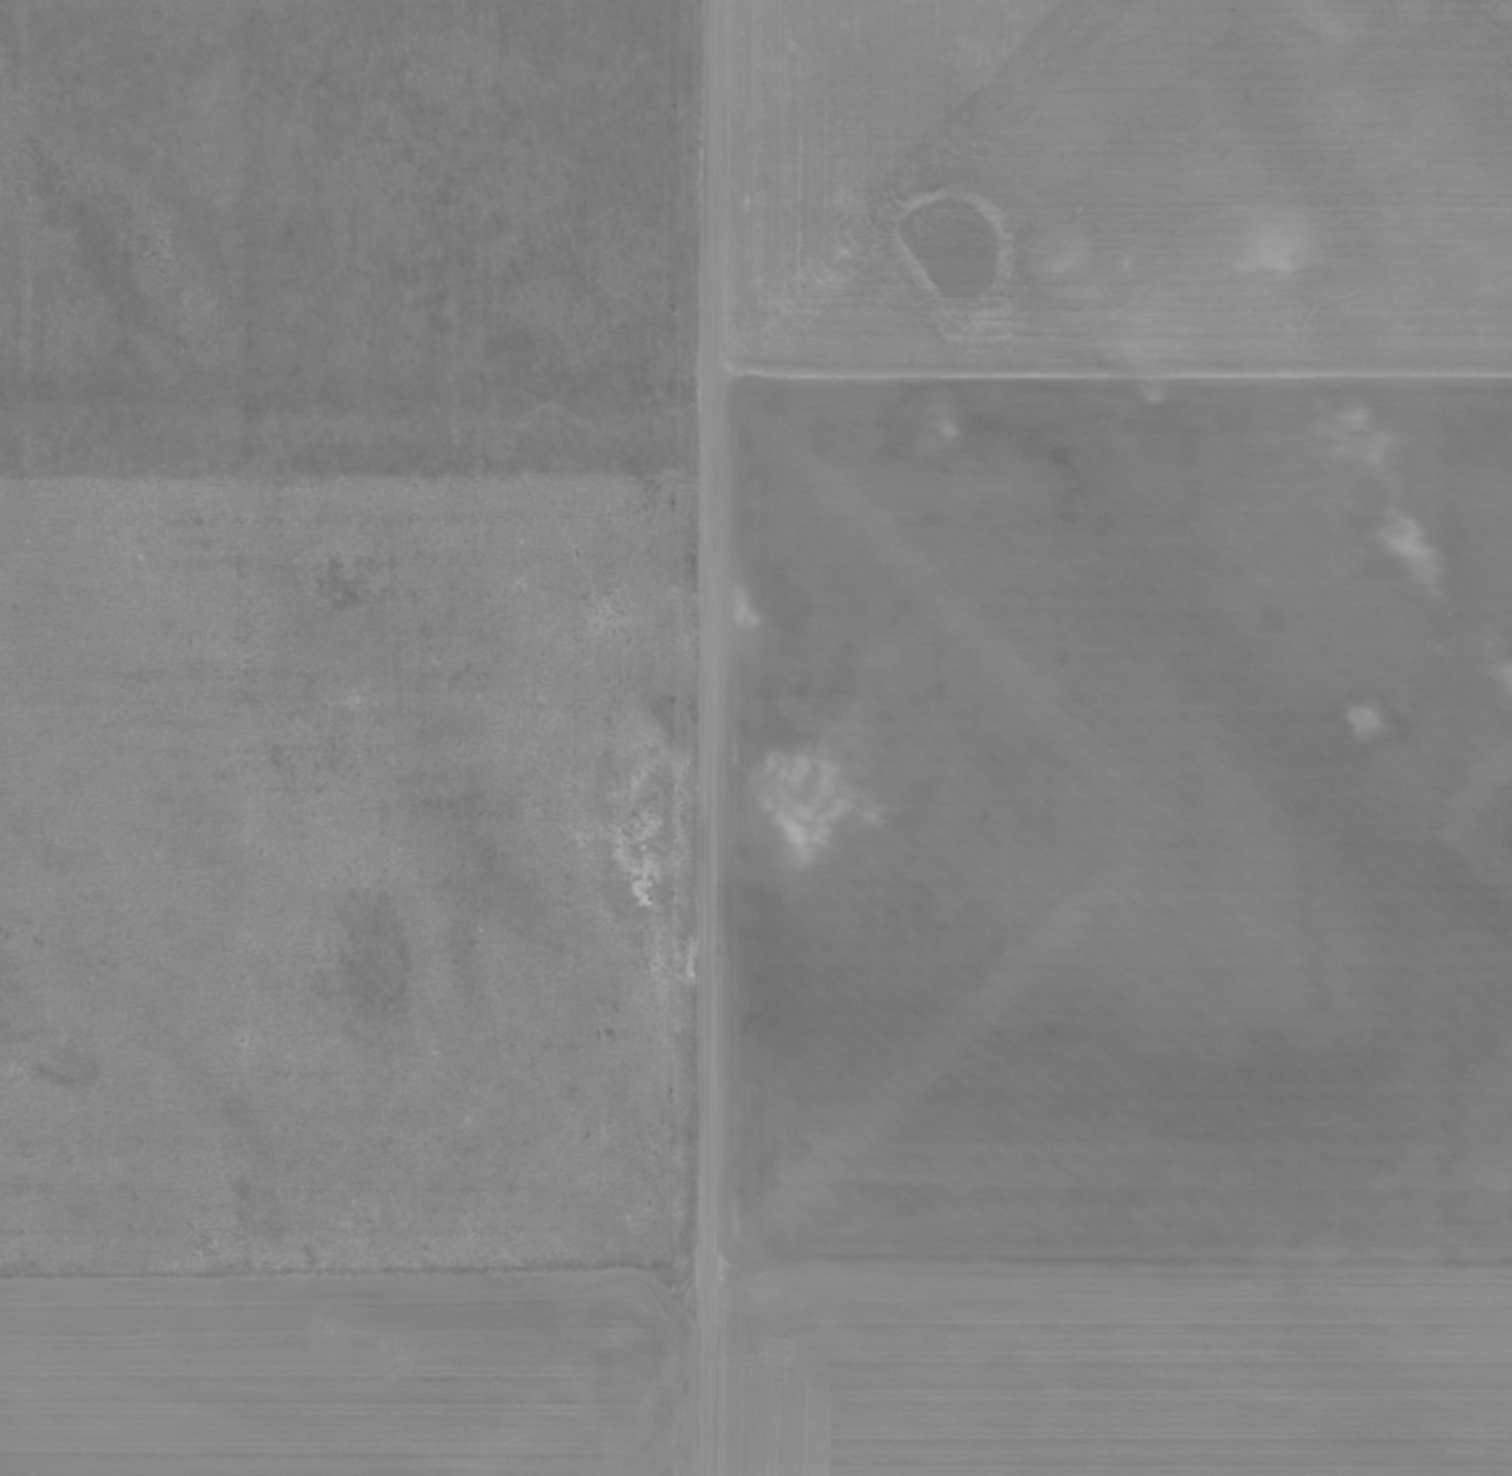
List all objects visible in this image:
road: (708, 738)
crop: (1116, 738)
crop: (345, 1374)

